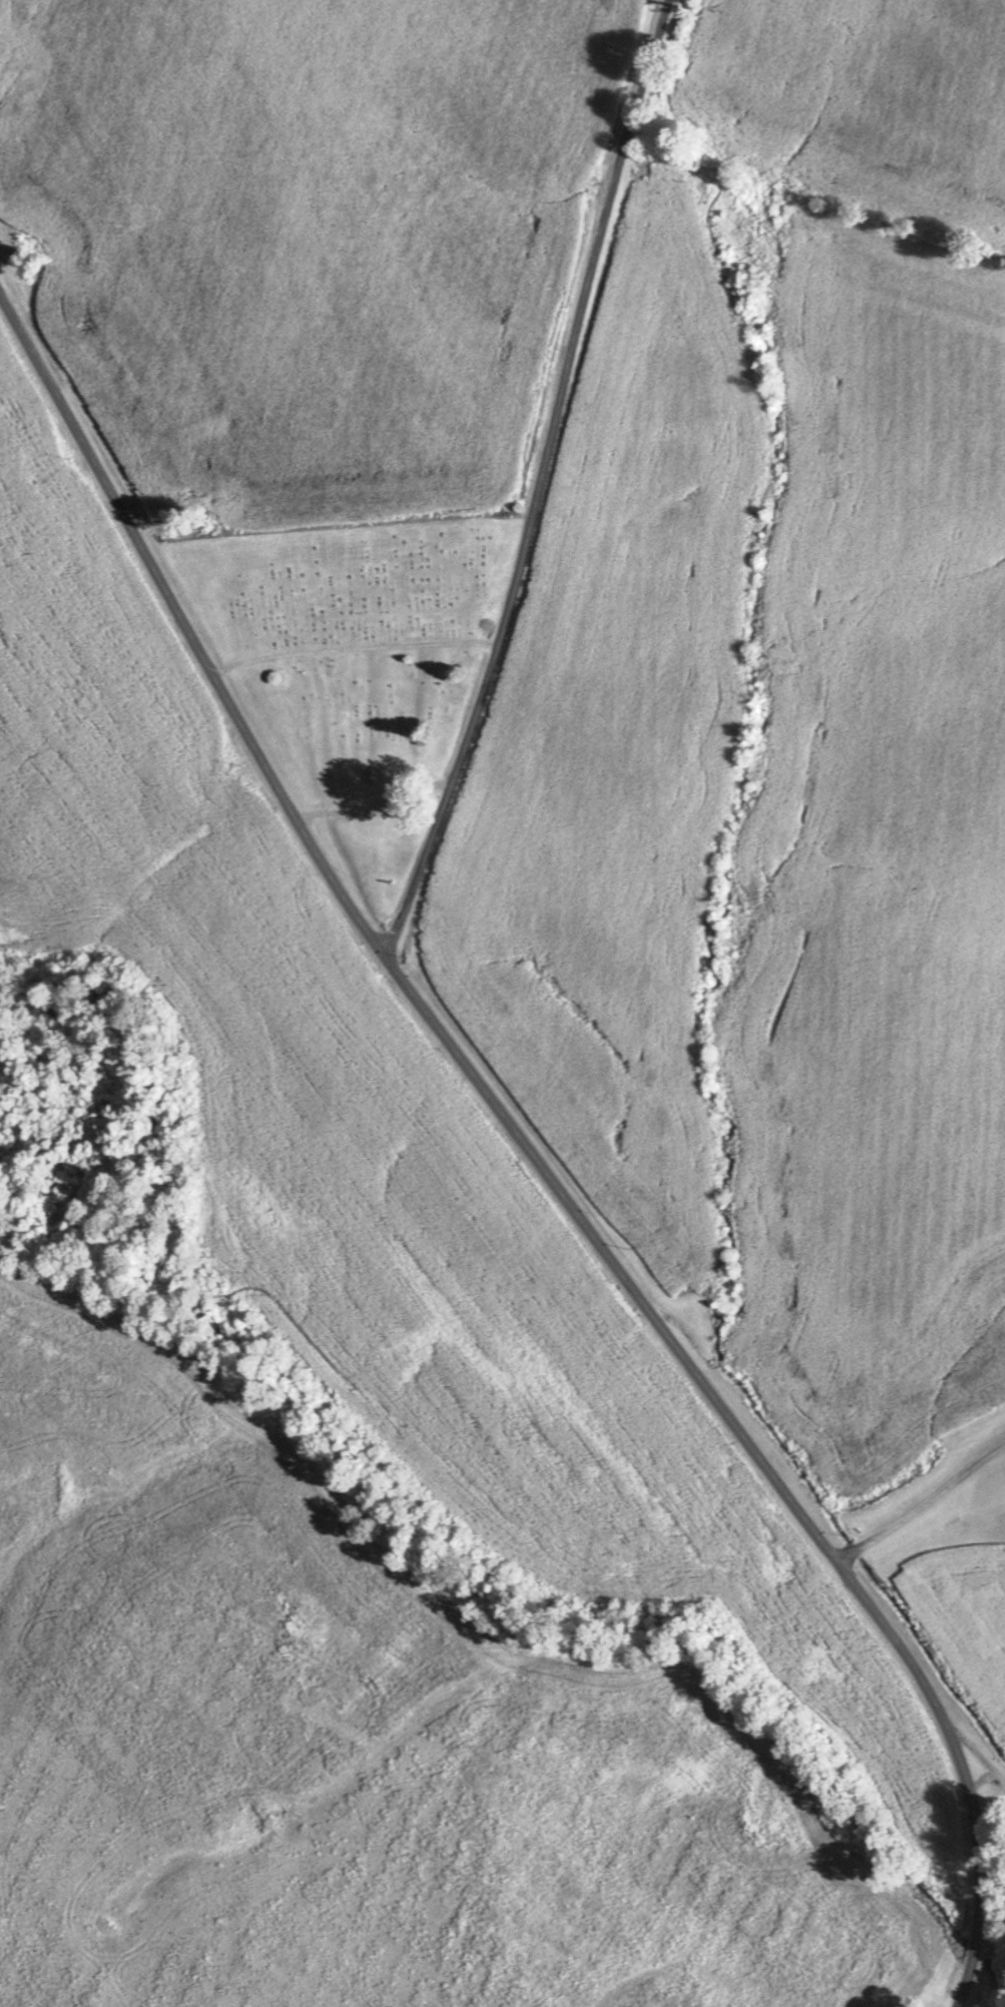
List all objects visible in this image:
road: (543, 481)
road: (187, 625)
park: (354, 666)
road: (758, 1451)
road: (903, 1463)
road: (970, 1742)

